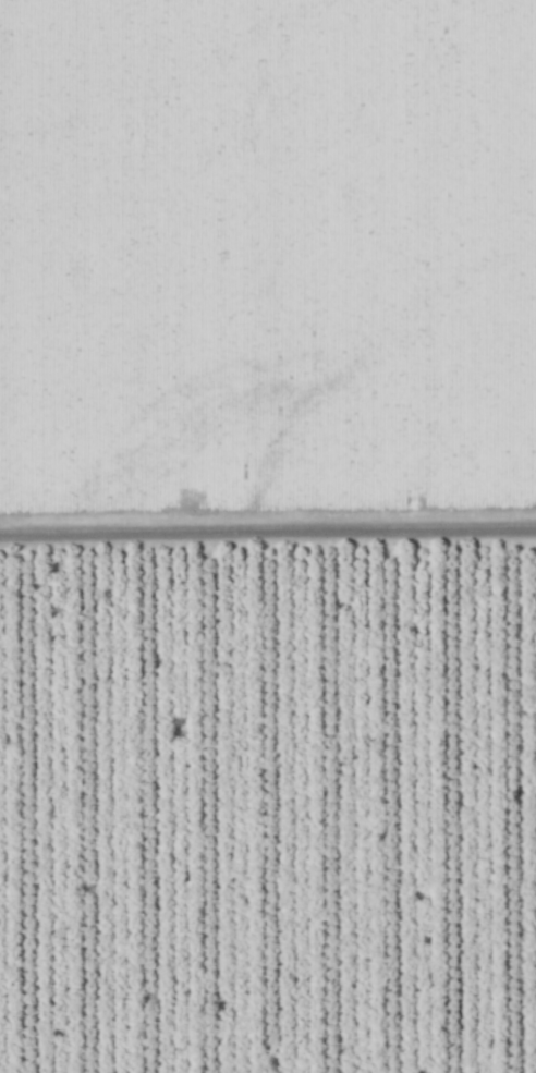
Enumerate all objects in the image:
crop: (267, 258)
road: (446, 528)
road: (178, 531)

